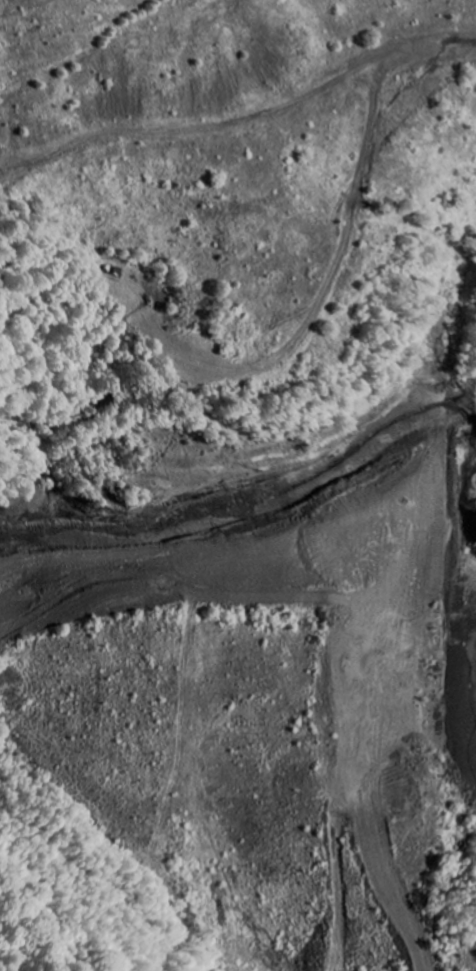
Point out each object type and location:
quarry: (238, 485)

